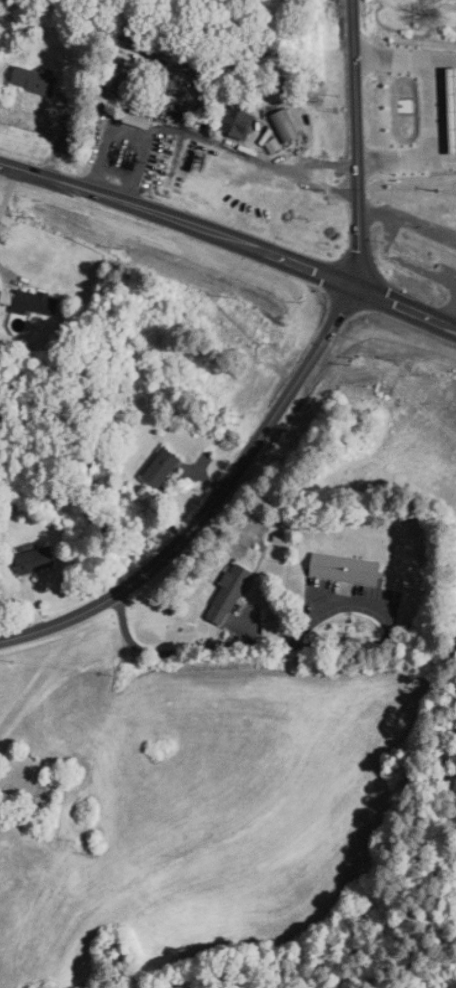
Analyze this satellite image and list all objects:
building: (440, 0)
building: (40, 82)
building: (419, 88)
building: (143, 108)
building: (243, 122)
building: (288, 127)
building: (417, 133)
road: (130, 135)
road: (356, 142)
road: (247, 156)
building: (410, 161)
road: (435, 172)
road: (9, 190)
road: (230, 239)
building: (428, 247)
road: (6, 271)
building: (31, 303)
building: (213, 321)
building: (165, 468)
road: (213, 503)
building: (37, 561)
building: (348, 569)
building: (231, 594)

